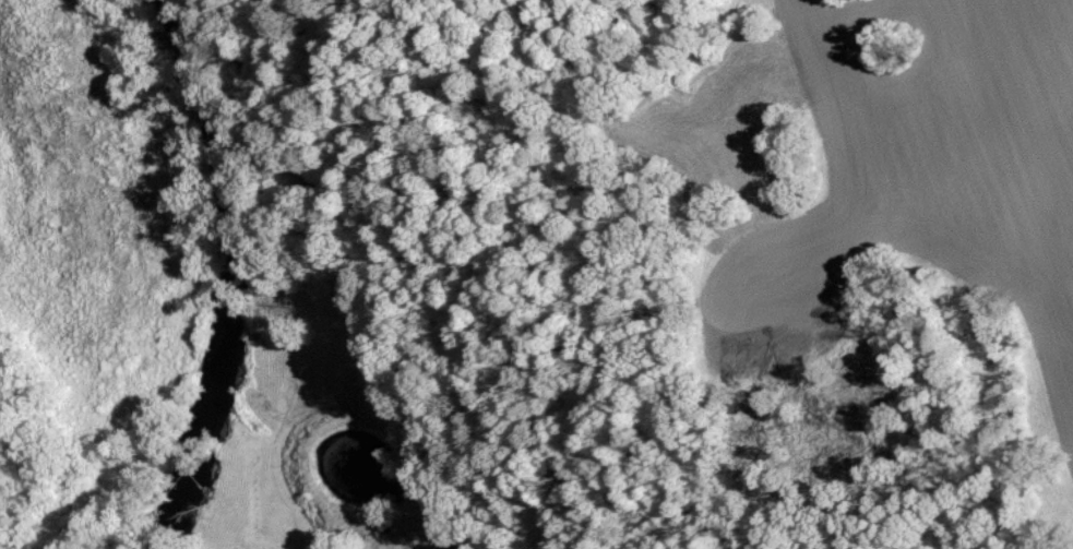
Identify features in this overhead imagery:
road: (360, 268)
river: (233, 274)
building: (438, 547)
building: (454, 548)

